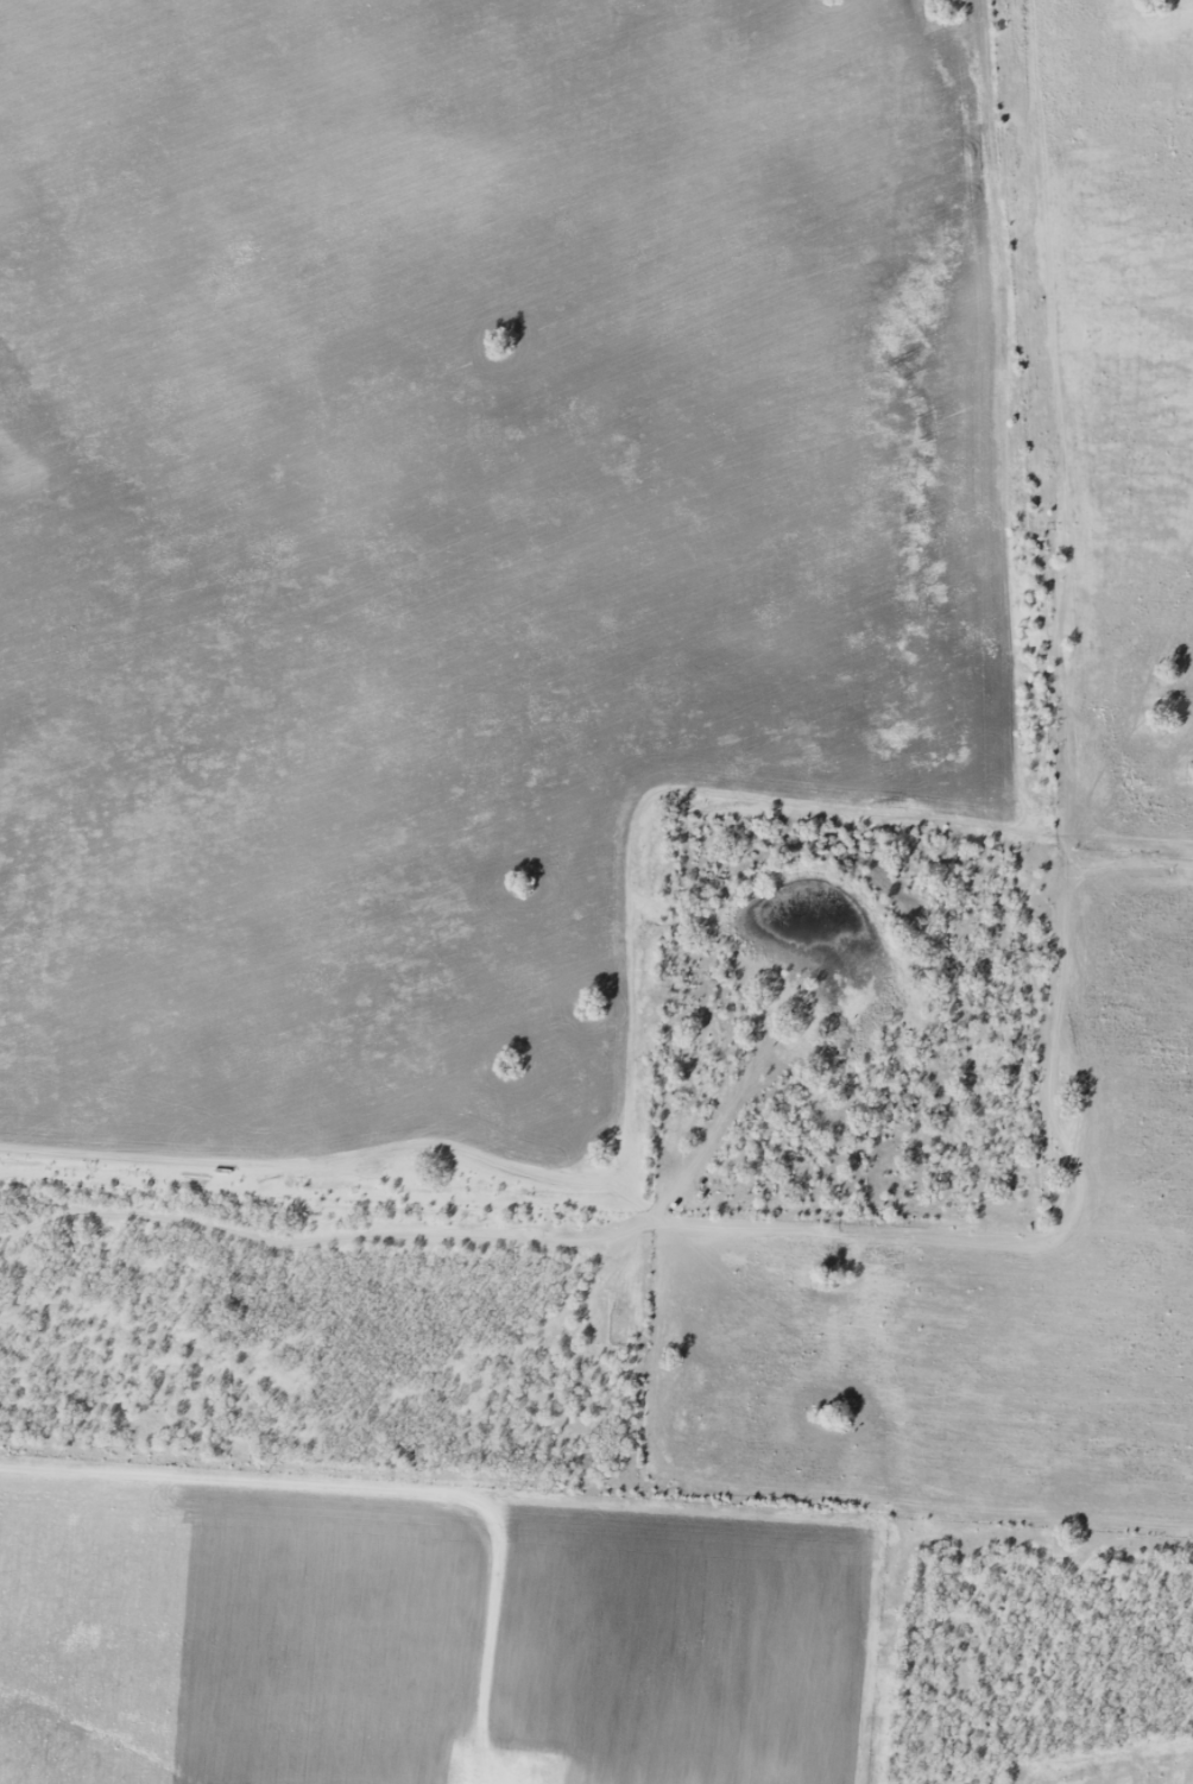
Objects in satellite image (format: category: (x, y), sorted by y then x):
road: (276, 1479)

